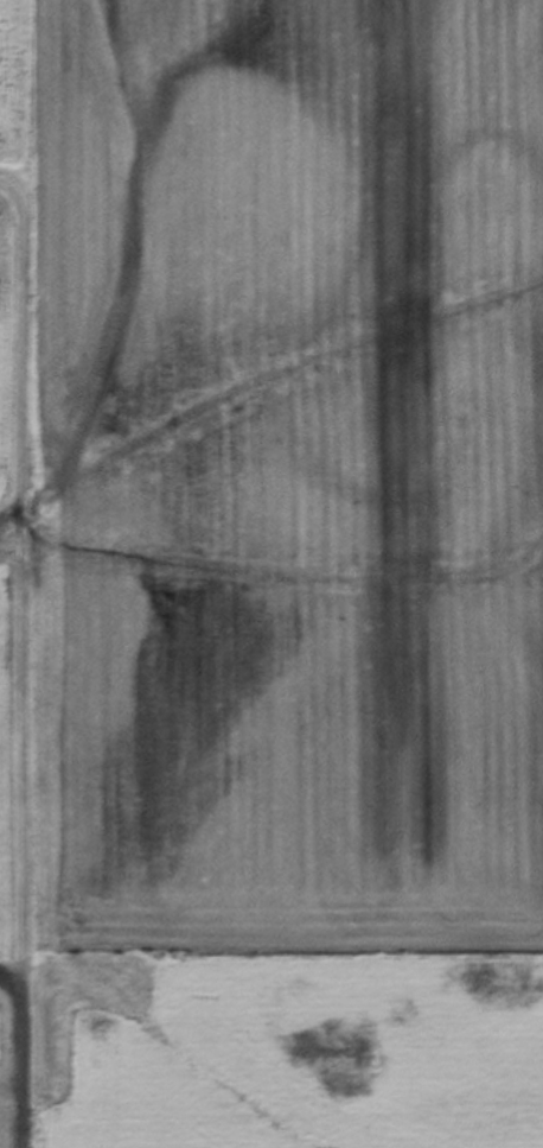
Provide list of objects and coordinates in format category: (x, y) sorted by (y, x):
road: (13, 666)
road: (7, 981)

